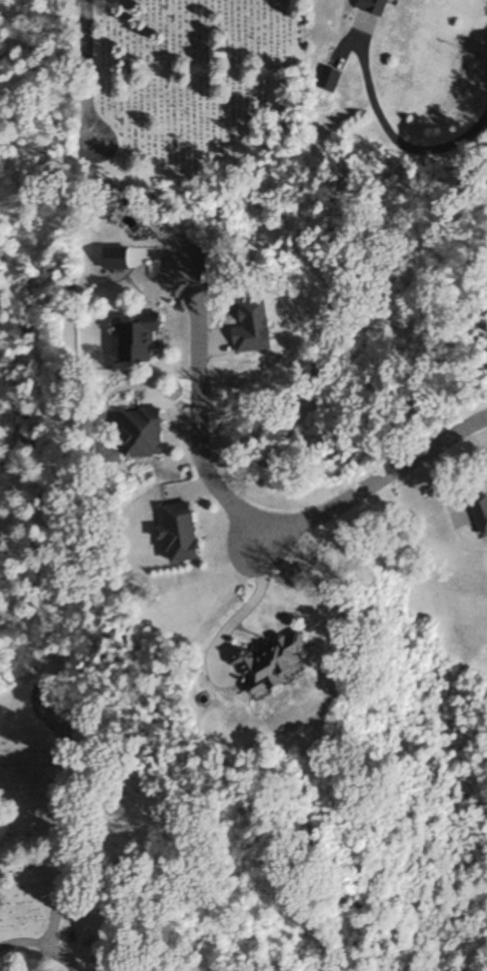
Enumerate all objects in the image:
building: (375, 7)
road: (86, 72)
building: (330, 81)
road: (389, 138)
building: (138, 339)
road: (197, 411)
building: (142, 433)
road: (373, 485)
building: (482, 514)
building: (180, 533)
building: (274, 665)
park: (57, 823)
road: (65, 837)
road: (40, 947)

